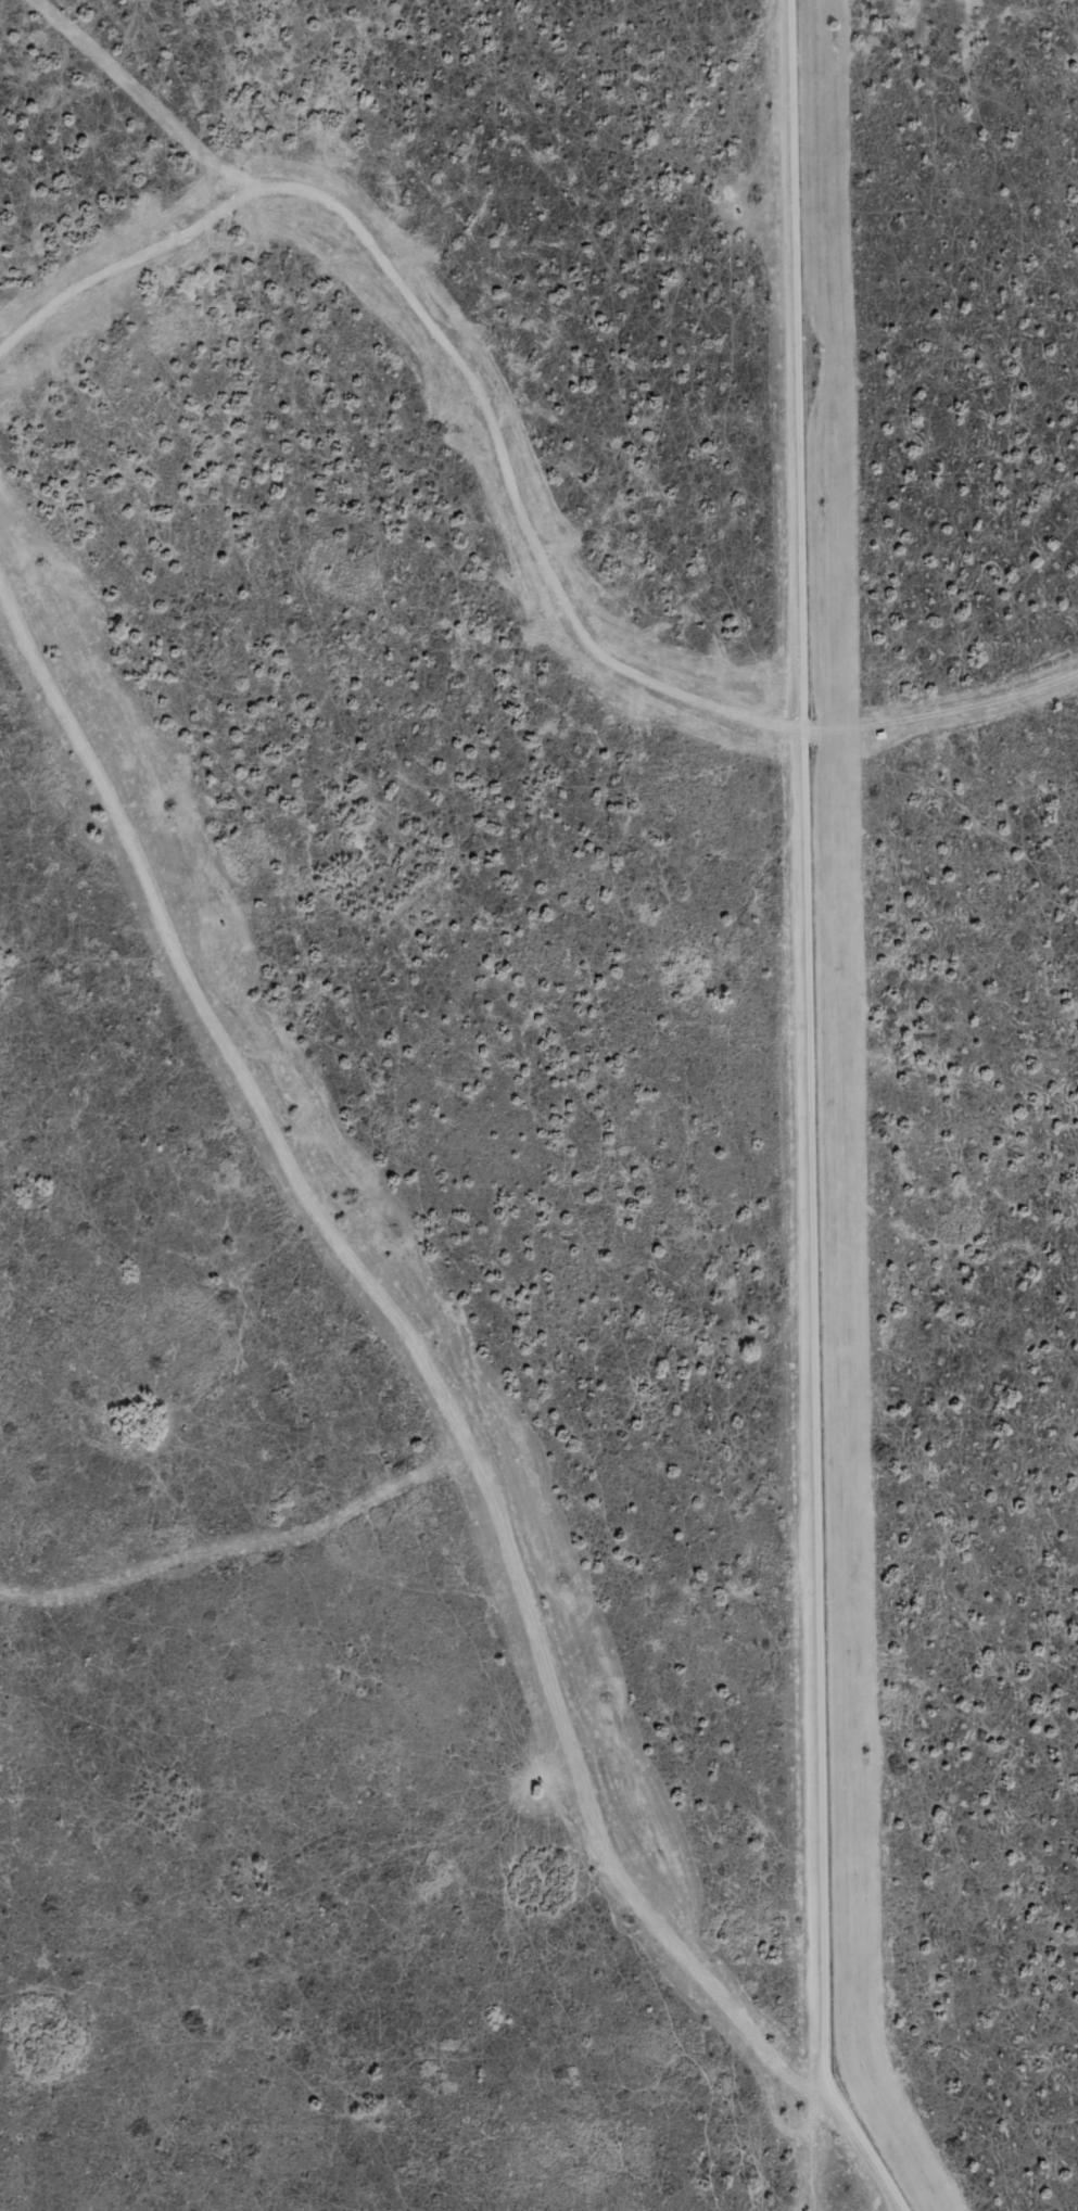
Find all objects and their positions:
road: (769, 1124)

